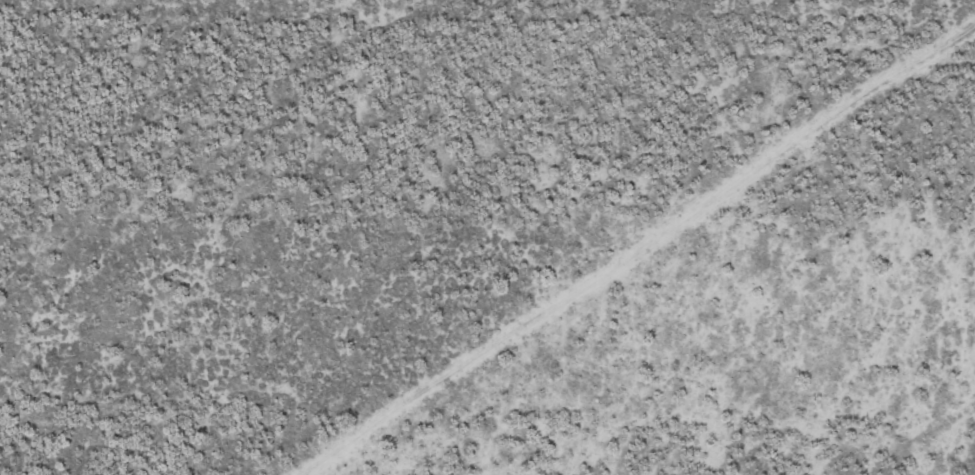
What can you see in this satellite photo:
road: (633, 268)

